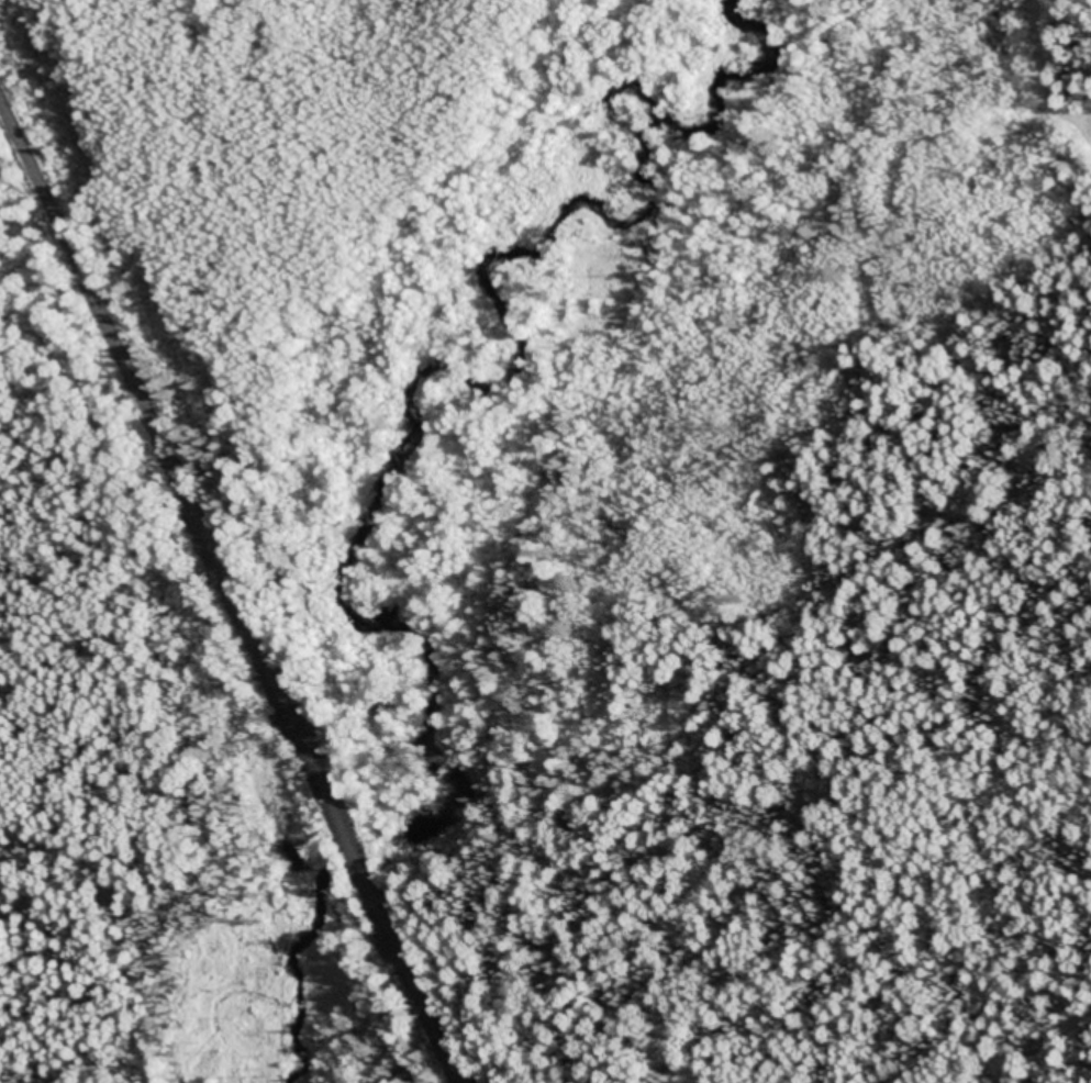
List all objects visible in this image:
road: (253, 554)

